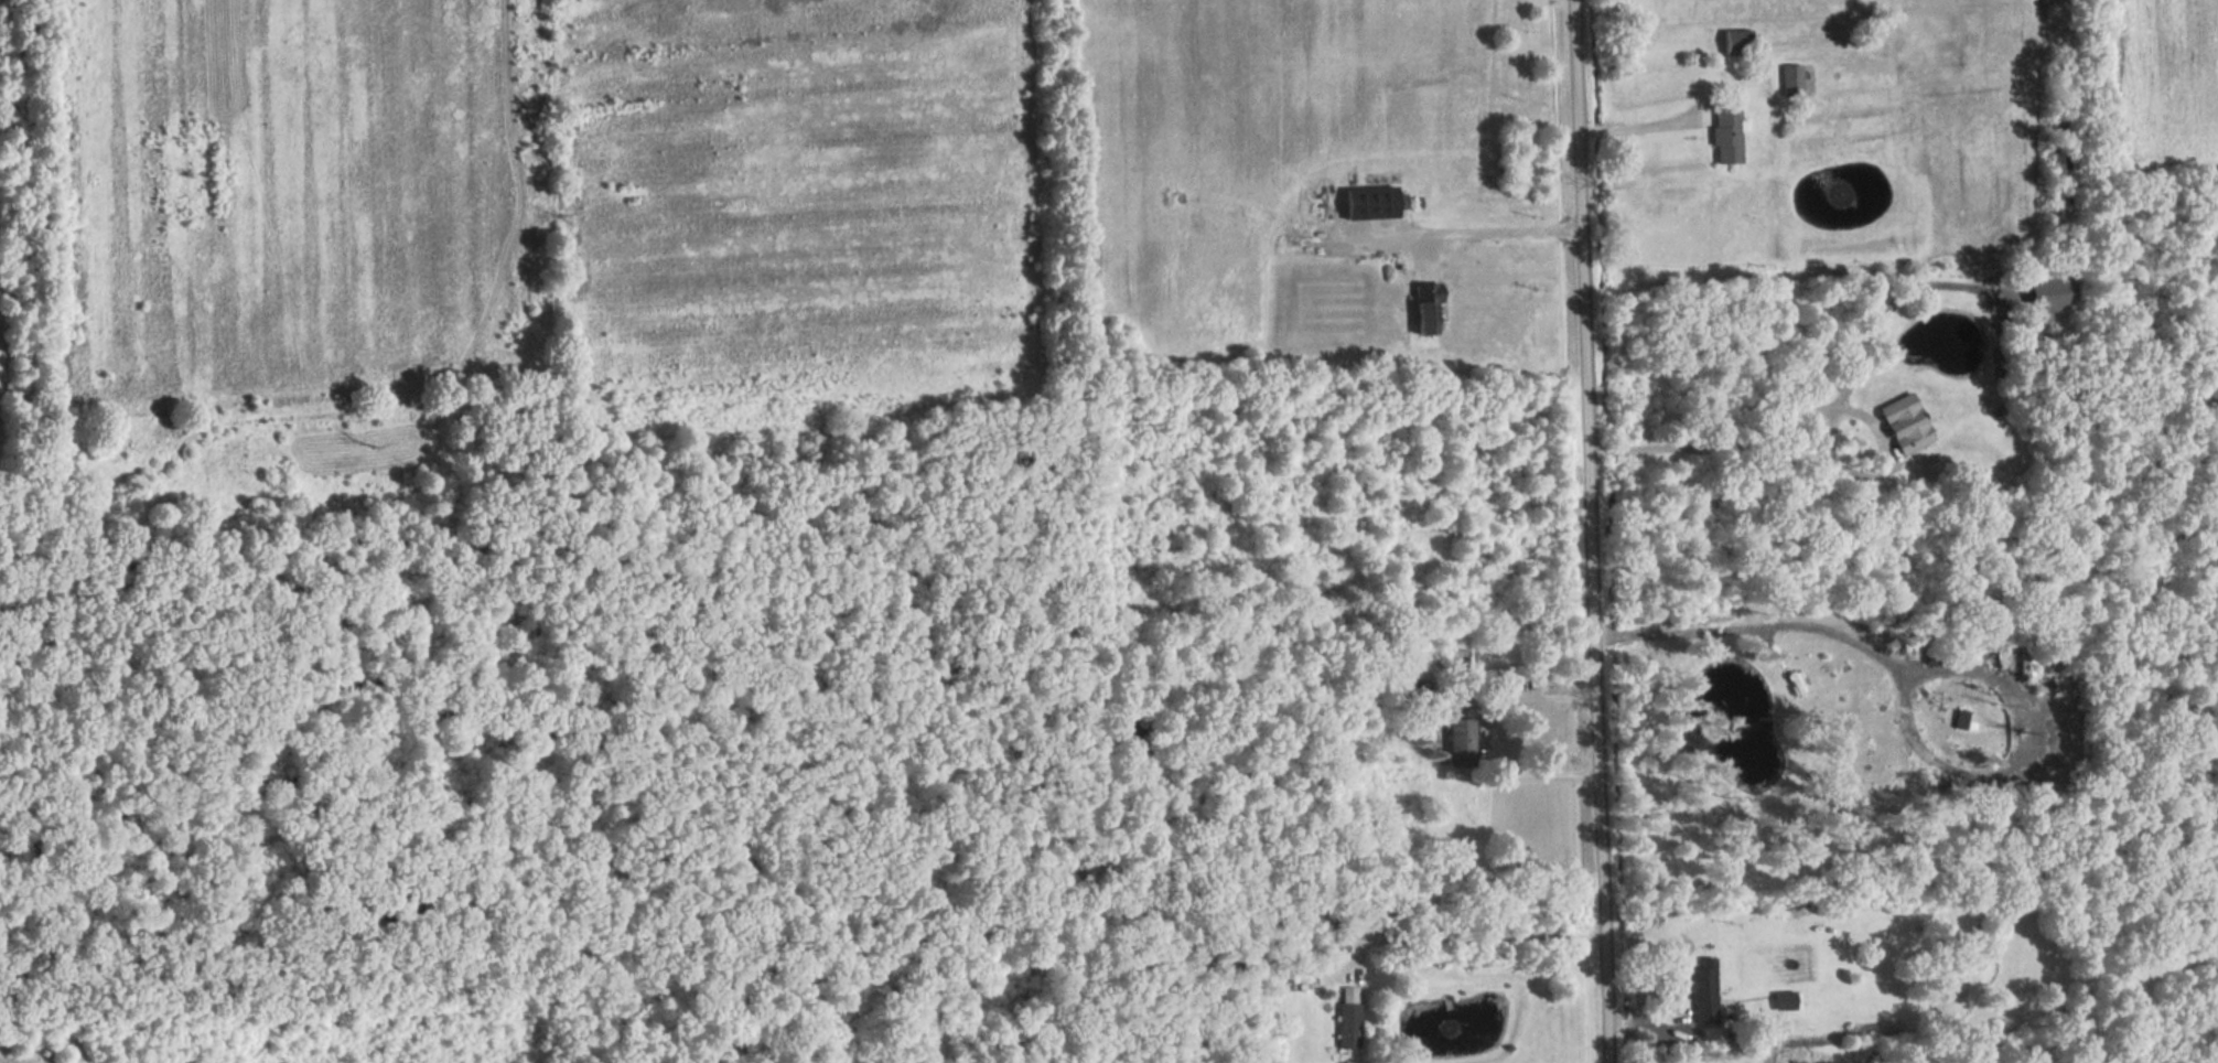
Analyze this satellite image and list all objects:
building: (1737, 43)
building: (1791, 82)
road: (1630, 130)
building: (1726, 138)
building: (1374, 205)
road: (1504, 233)
building: (2050, 297)
building: (1428, 309)
building: (1906, 423)
road: (1614, 451)
road: (1659, 452)
road: (1886, 461)
road: (1584, 531)
building: (1455, 661)
road: (1930, 668)
road: (1482, 740)
building: (1460, 743)
road: (1482, 935)
building: (1333, 941)
building: (1703, 992)
building: (1786, 1001)
building: (1347, 1018)

